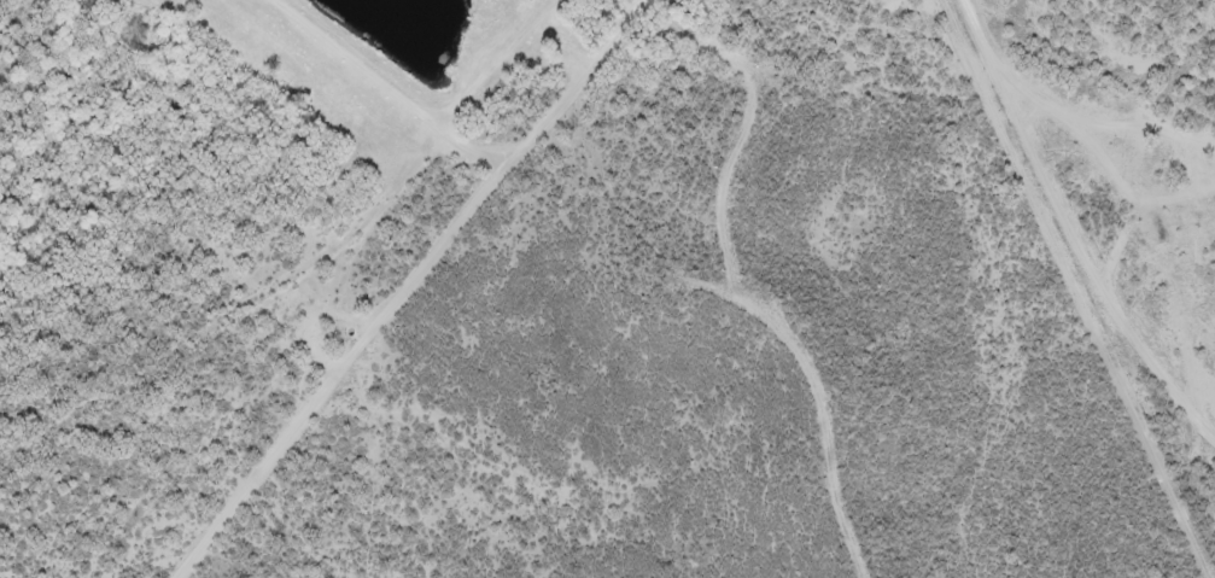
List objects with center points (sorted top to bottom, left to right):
road: (760, 91)
road: (1071, 243)

